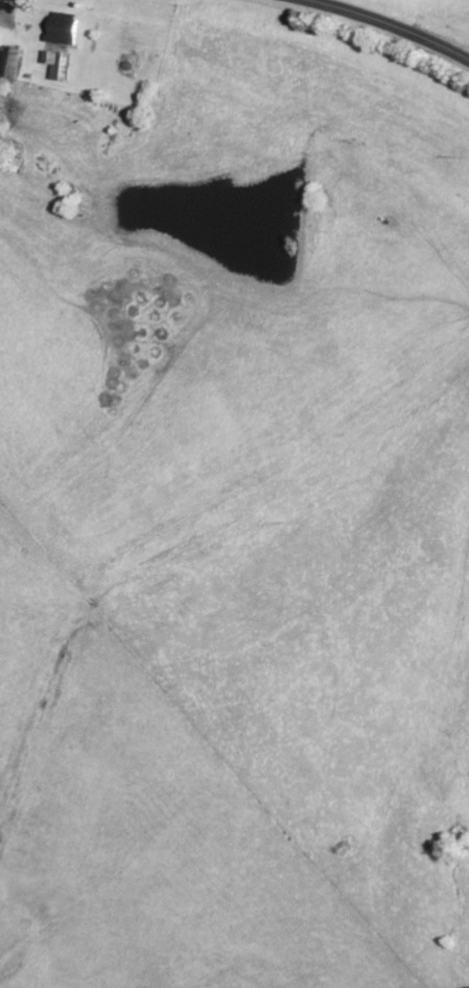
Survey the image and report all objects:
road: (391, 23)
building: (67, 29)
building: (15, 63)
building: (60, 66)

